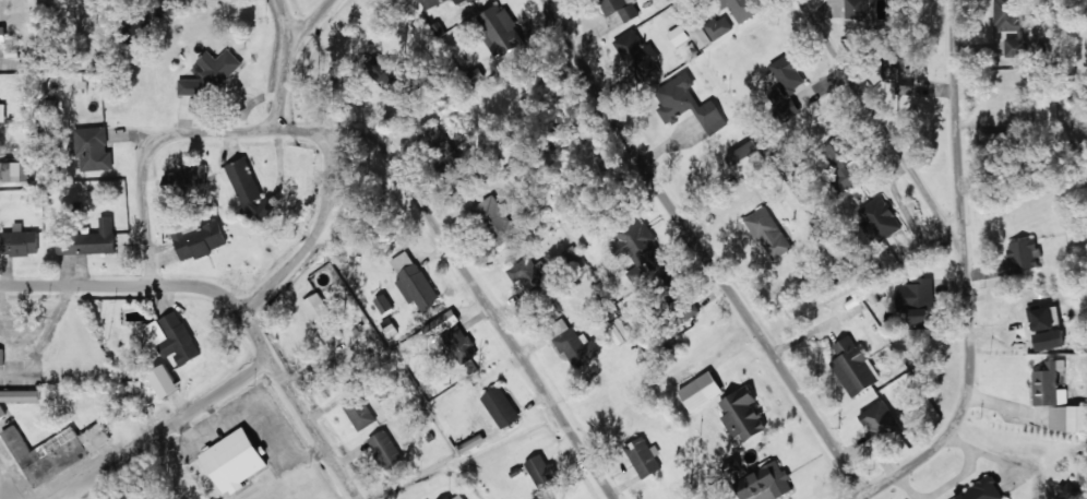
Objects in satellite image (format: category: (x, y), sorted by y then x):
building: (433, 1)
building: (463, 1)
road: (285, 7)
road: (307, 7)
building: (623, 8)
building: (746, 8)
building: (853, 9)
building: (501, 29)
building: (713, 29)
building: (4, 34)
building: (681, 34)
building: (1016, 41)
building: (640, 54)
building: (212, 74)
building: (395, 78)
building: (787, 84)
road: (272, 91)
building: (691, 104)
building: (1044, 110)
building: (3, 111)
road: (791, 121)
building: (991, 141)
building: (96, 148)
building: (748, 156)
building: (844, 163)
building: (14, 170)
building: (181, 181)
building: (249, 187)
road: (153, 194)
building: (881, 216)
road: (671, 218)
building: (504, 219)
building: (769, 230)
building: (91, 239)
building: (22, 240)
building: (202, 240)
building: (640, 249)
building: (571, 253)
road: (285, 256)
building: (1019, 256)
building: (530, 273)
building: (416, 281)
road: (903, 281)
road: (445, 292)
building: (919, 299)
building: (384, 302)
building: (318, 308)
road: (216, 313)
building: (1038, 318)
building: (443, 323)
building: (176, 336)
building: (1044, 338)
building: (578, 346)
building: (2, 355)
building: (856, 366)
building: (167, 381)
building: (704, 390)
building: (17, 396)
building: (502, 406)
building: (360, 411)
building: (745, 413)
building: (1067, 418)
building: (882, 419)
building: (97, 437)
building: (23, 447)
building: (387, 449)
road: (166, 452)
building: (646, 458)
building: (238, 459)
building: (545, 473)
road: (12, 479)
building: (775, 480)
building: (980, 490)
building: (1067, 490)
building: (458, 496)

